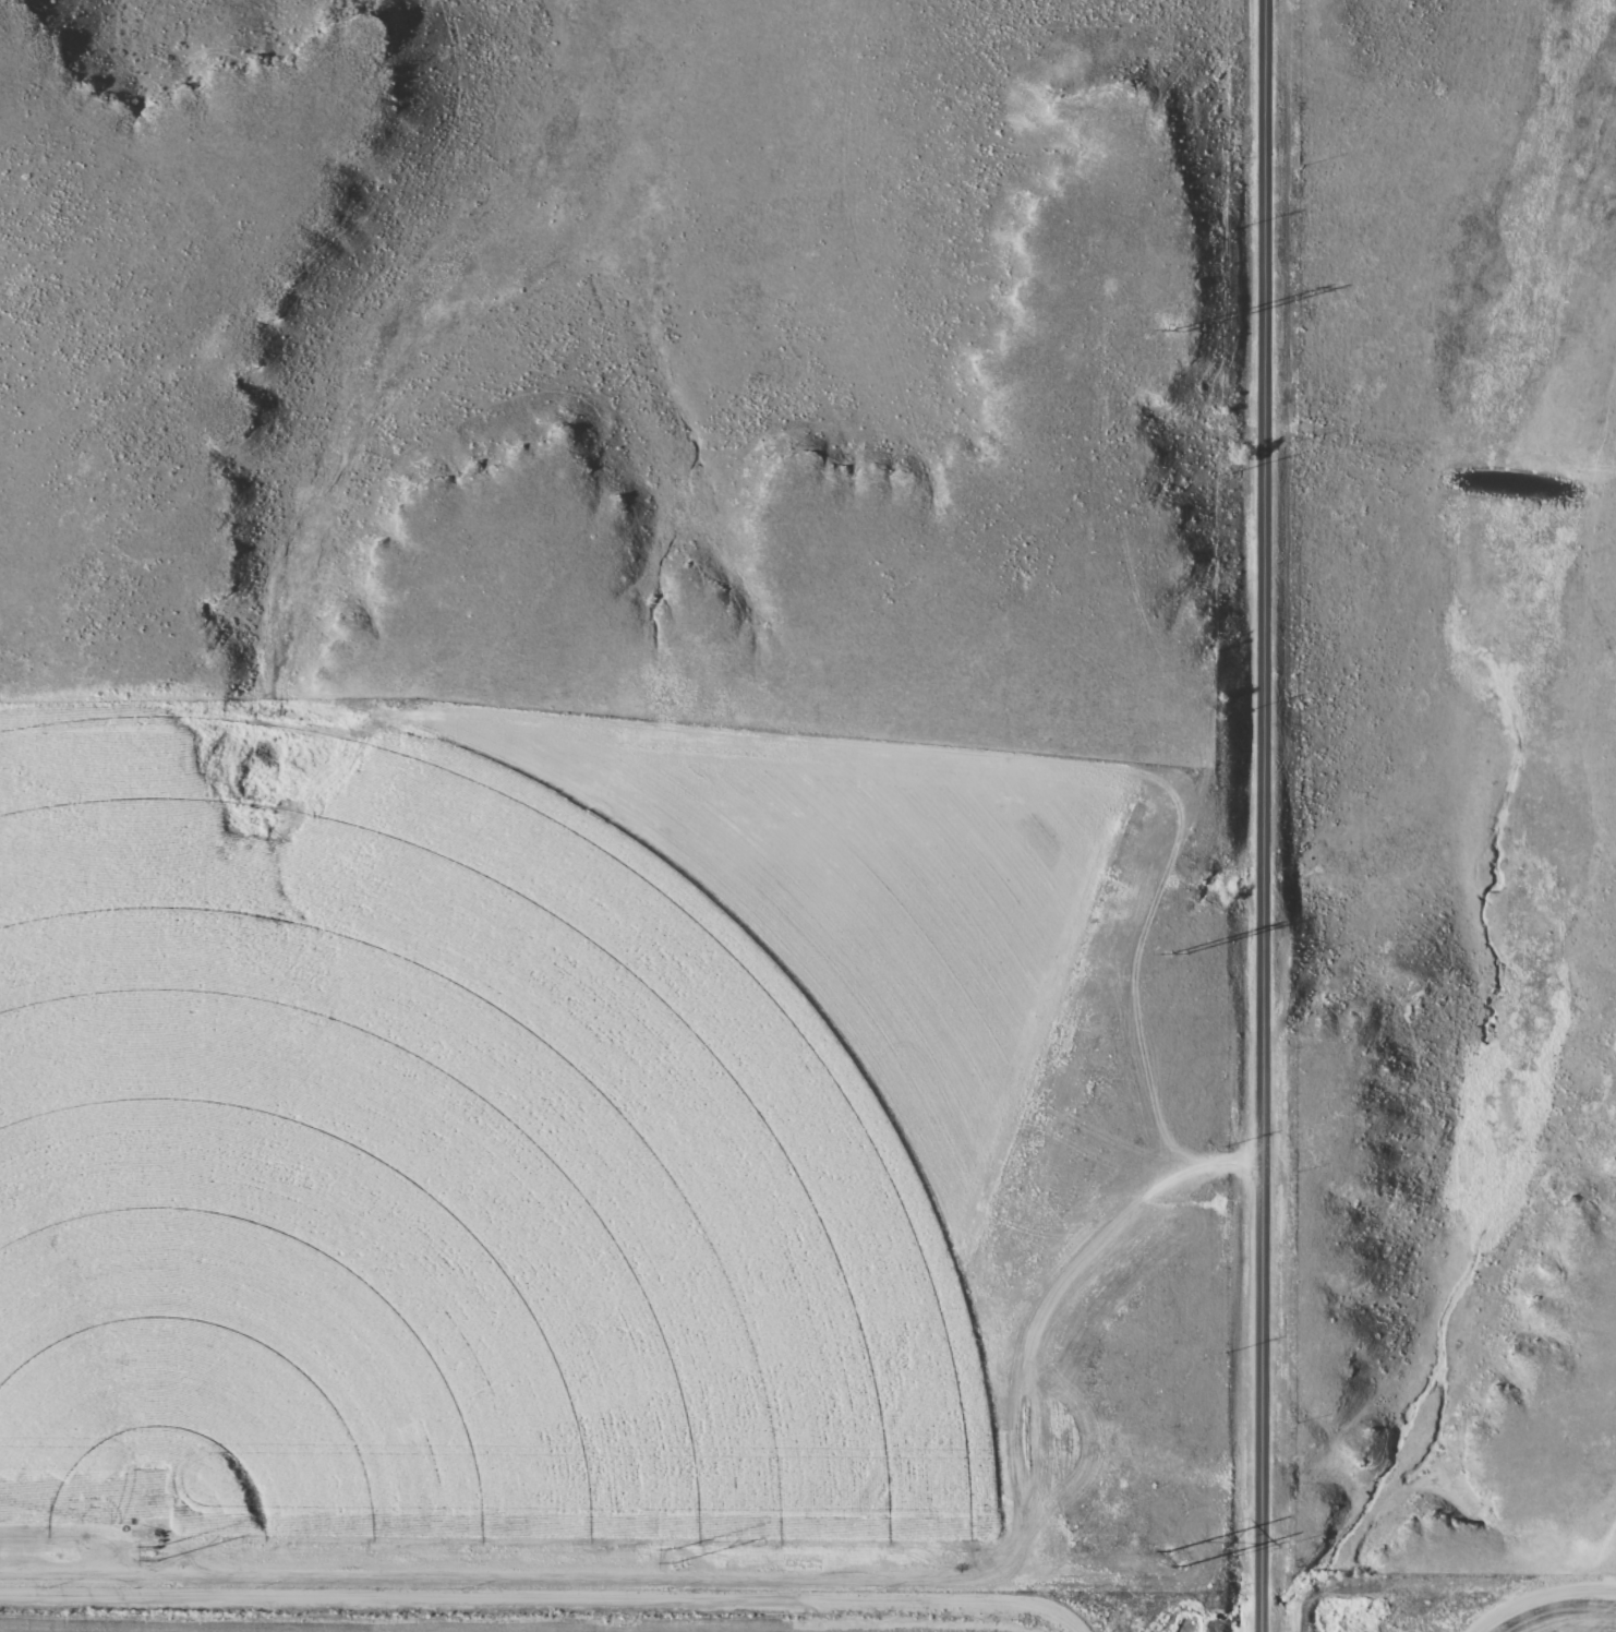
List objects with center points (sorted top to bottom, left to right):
power tower: (1174, 328)
road: (1268, 816)
power tower: (1173, 955)
power tower: (158, 1552)
power tower: (672, 1557)
power tower: (1172, 1559)

